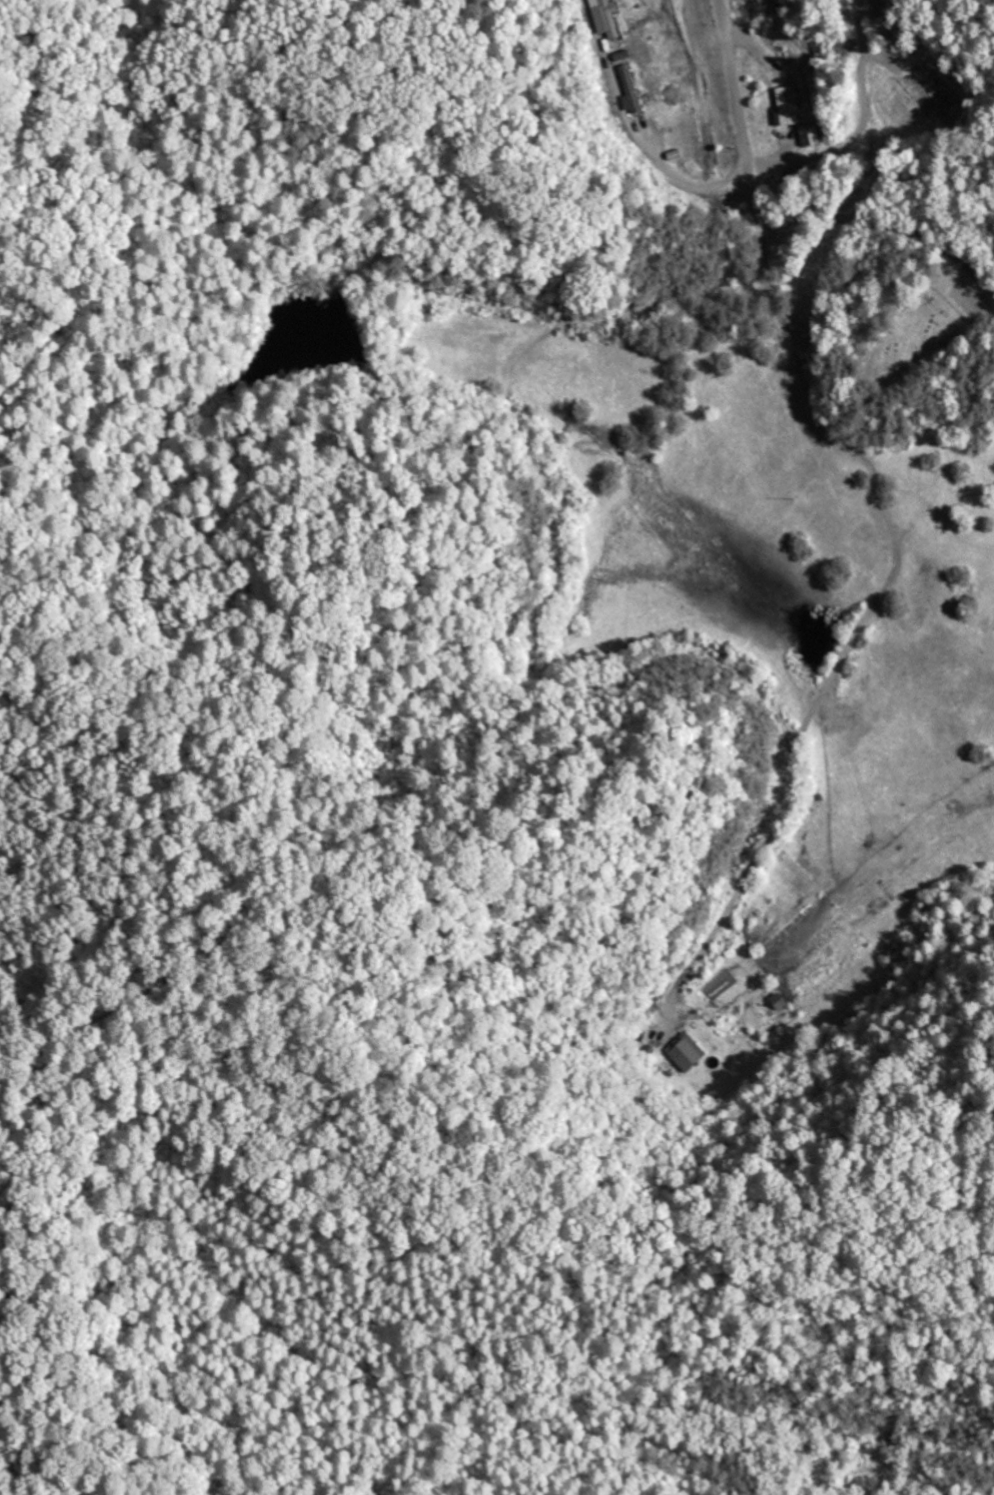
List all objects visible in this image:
building: (611, 19)
building: (633, 90)
building: (928, 98)
building: (789, 105)
building: (809, 134)
road: (776, 225)
park: (908, 339)
building: (687, 1052)

